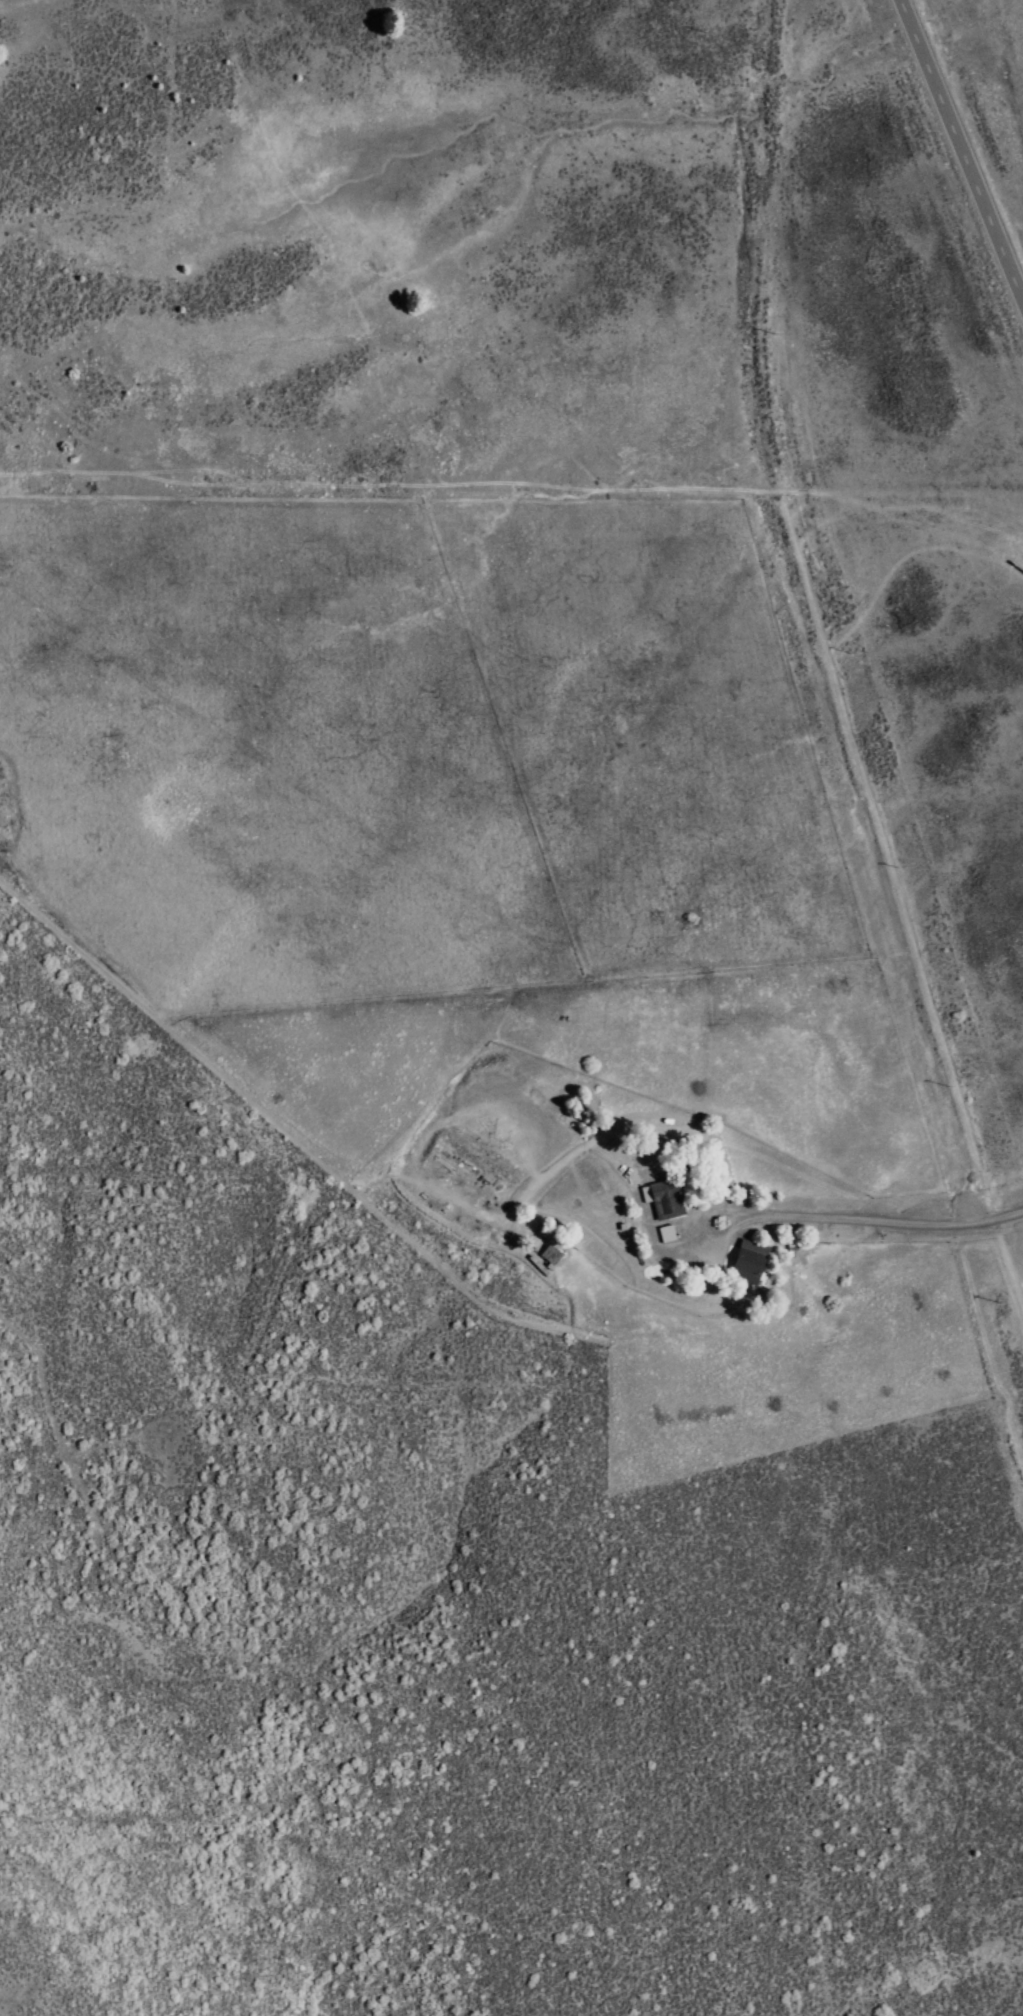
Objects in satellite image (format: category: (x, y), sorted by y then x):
road: (954, 168)
crop: (504, 1021)
building: (661, 1197)
building: (664, 1232)
building: (549, 1254)
building: (746, 1261)

